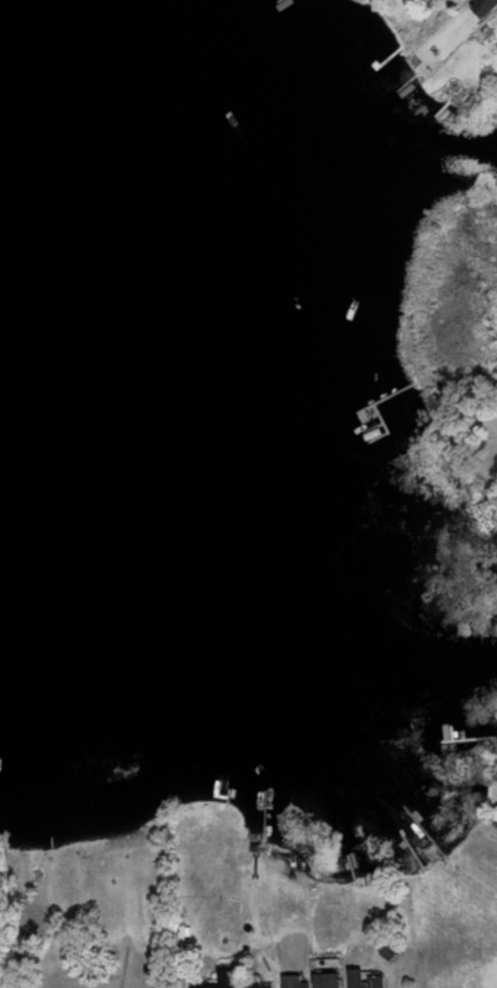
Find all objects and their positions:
building: (484, 6)
road: (494, 836)
pier: (51, 839)
park: (90, 909)
building: (224, 979)
building: (327, 979)
building: (364, 979)
building: (295, 981)
building: (259, 985)

